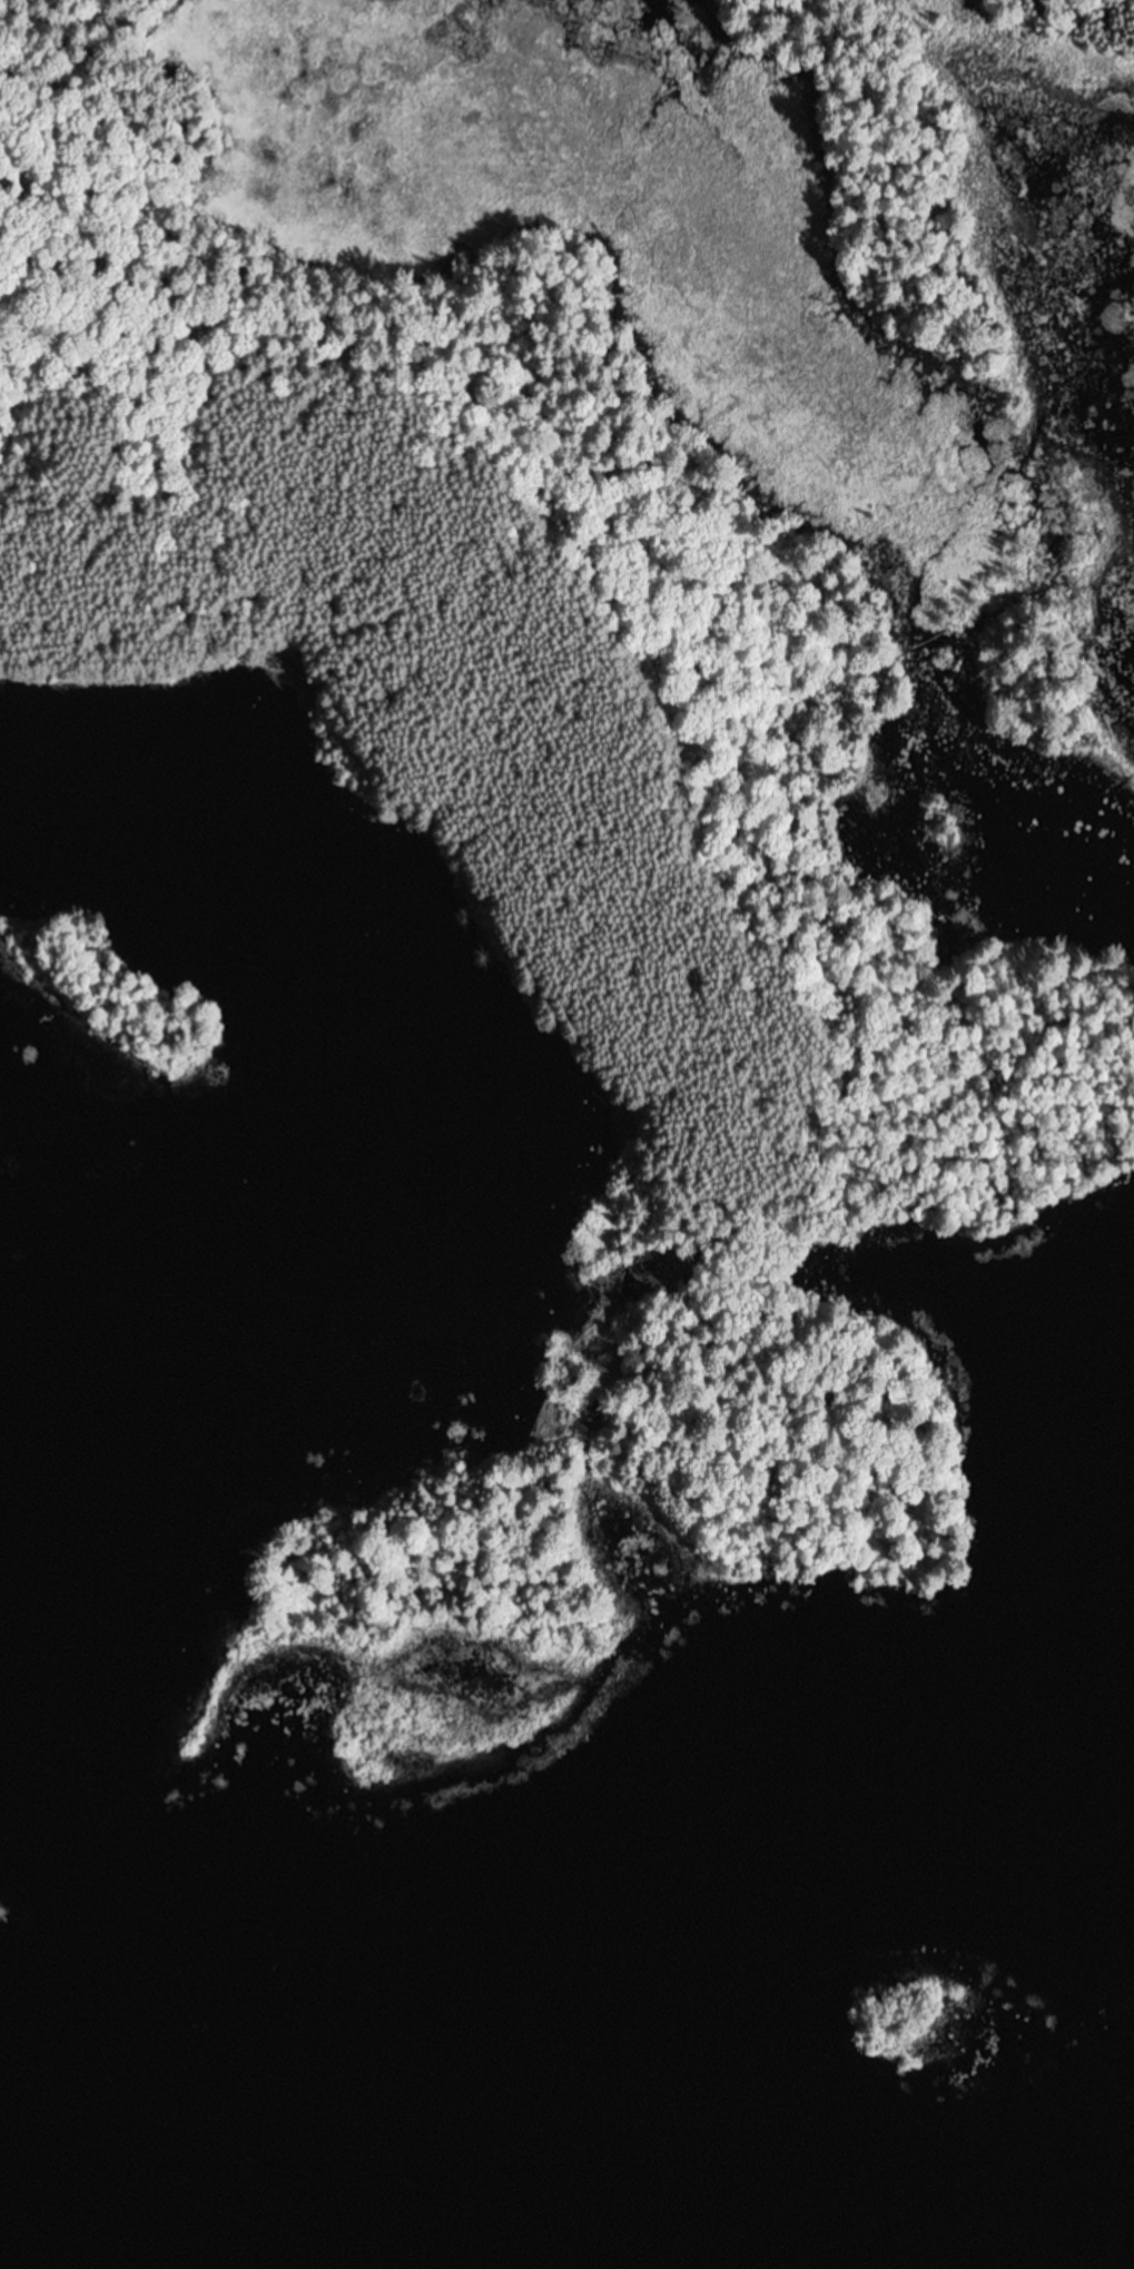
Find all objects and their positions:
river: (1081, 2214)

